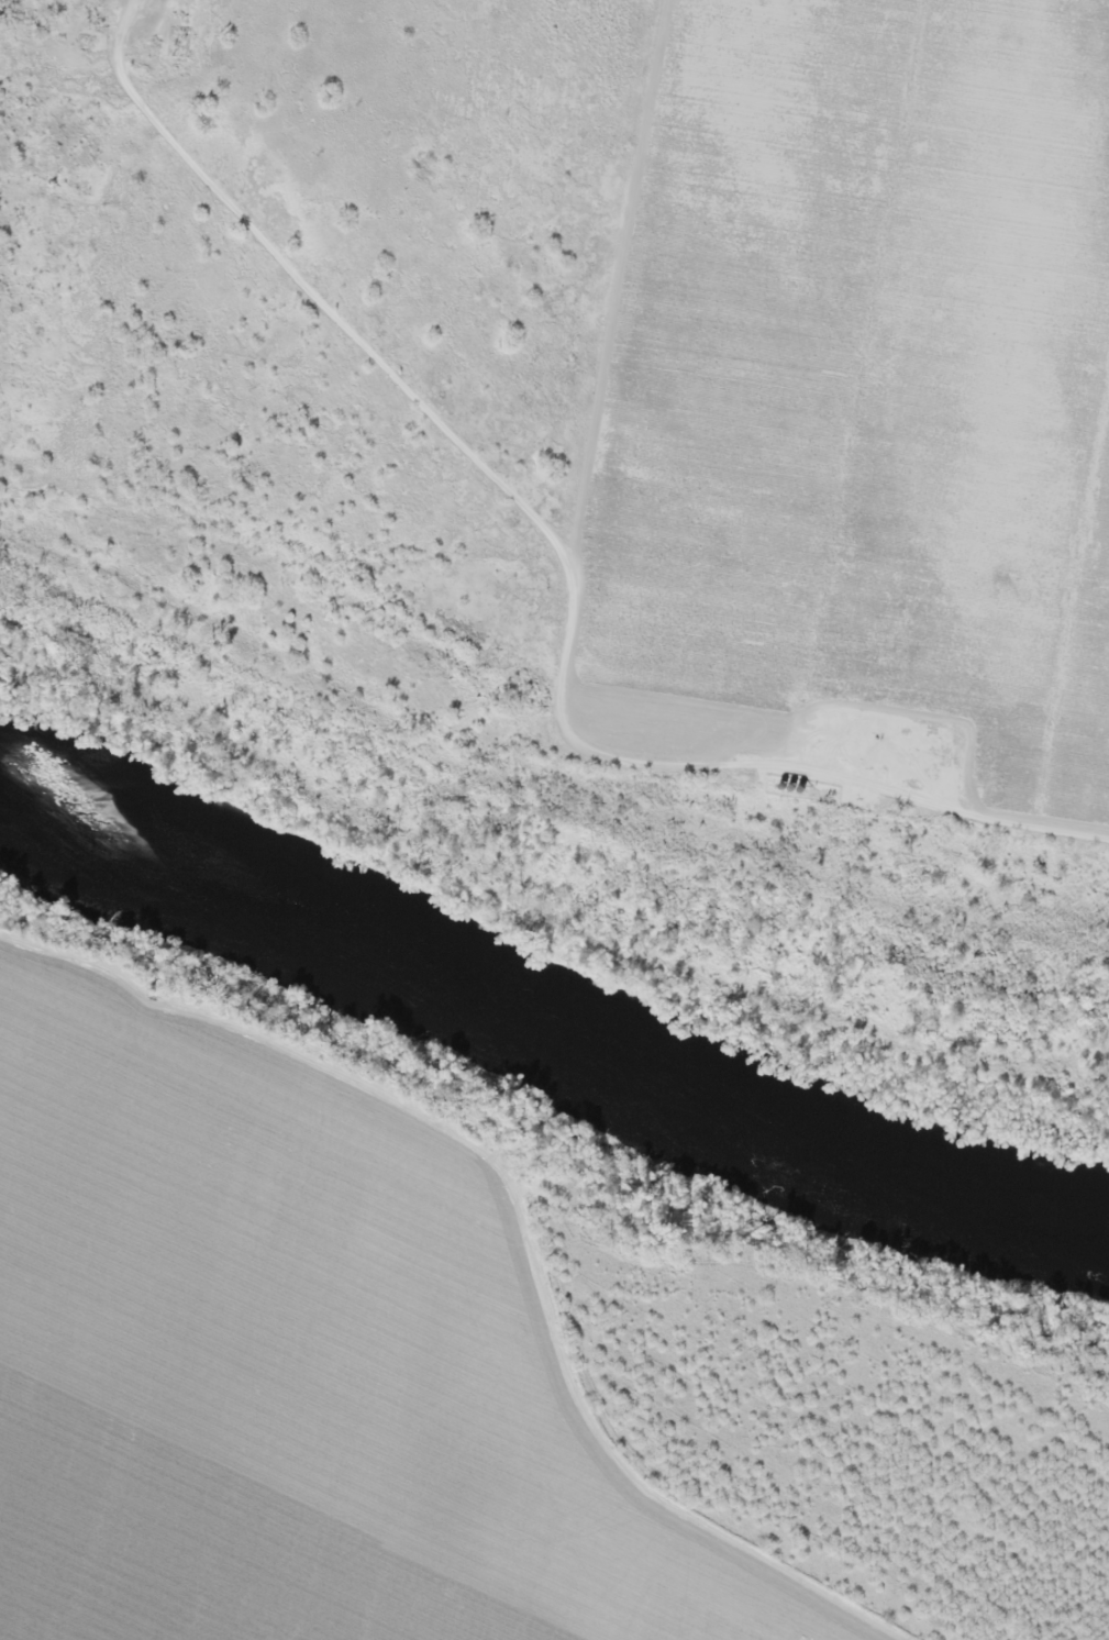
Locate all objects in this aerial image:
road: (321, 299)
road: (565, 649)
river: (540, 1027)

